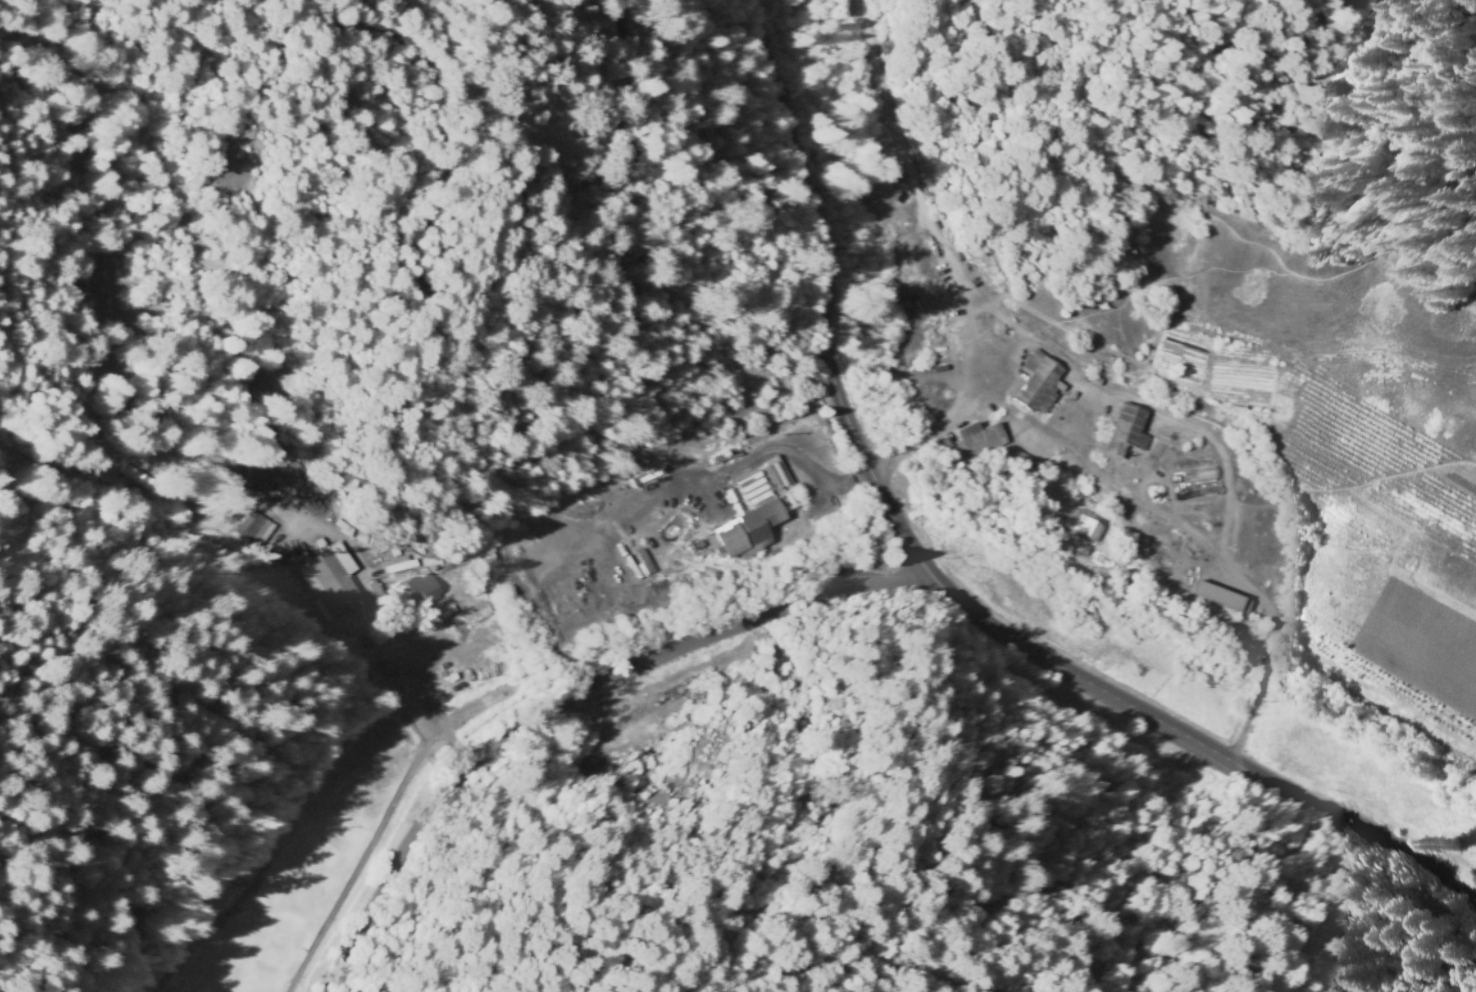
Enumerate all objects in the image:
building: (845, 22)
building: (1033, 382)
building: (274, 389)
road: (1188, 419)
building: (1123, 431)
building: (976, 438)
building: (729, 457)
road: (797, 460)
building: (296, 472)
building: (152, 478)
building: (260, 480)
building: (769, 482)
building: (757, 487)
building: (326, 510)
building: (1082, 527)
building: (761, 531)
building: (402, 564)
building: (423, 564)
building: (449, 568)
building: (711, 574)
building: (328, 578)
building: (379, 578)
road: (945, 583)
building: (376, 589)
building: (425, 589)
building: (1216, 598)
road: (1210, 614)
building: (475, 629)
road: (560, 697)
park: (291, 865)
road: (250, 866)
road: (352, 867)

